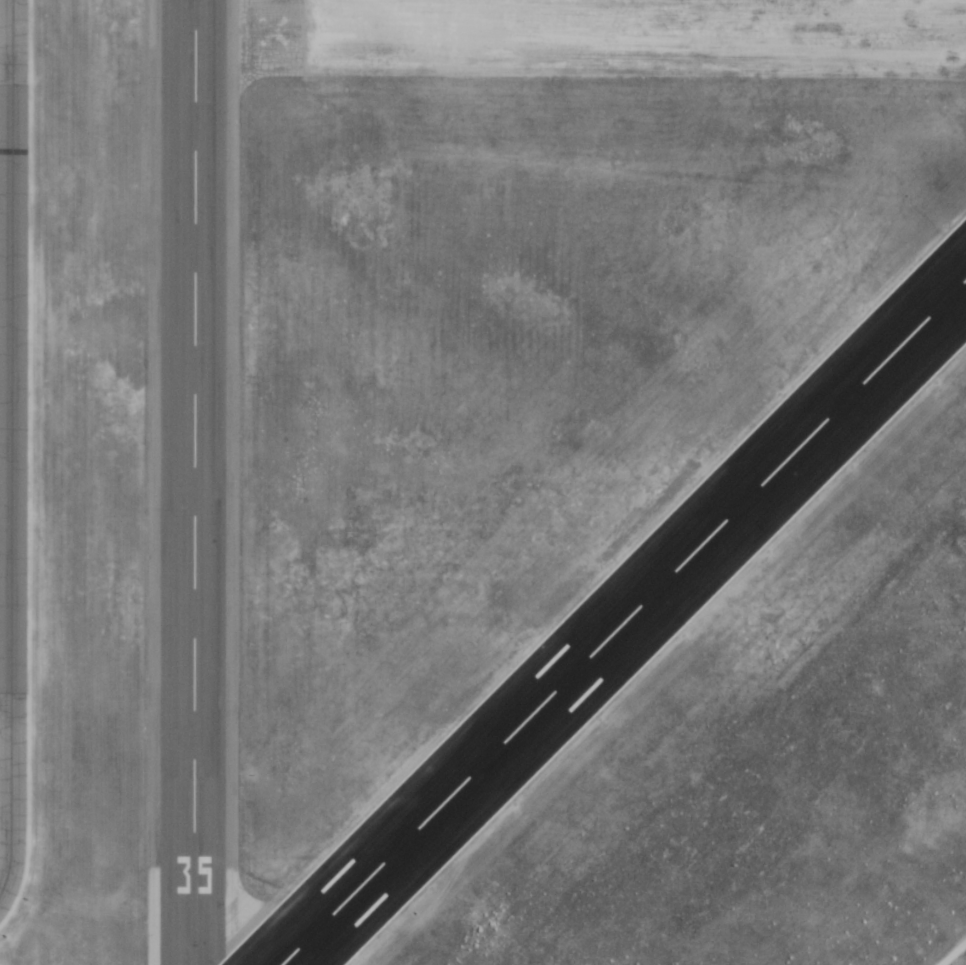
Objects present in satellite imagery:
airport taxiway: (14, 454)
airport runway: (195, 482)
airport: (483, 482)
airport runway: (623, 623)
road: (953, 953)

